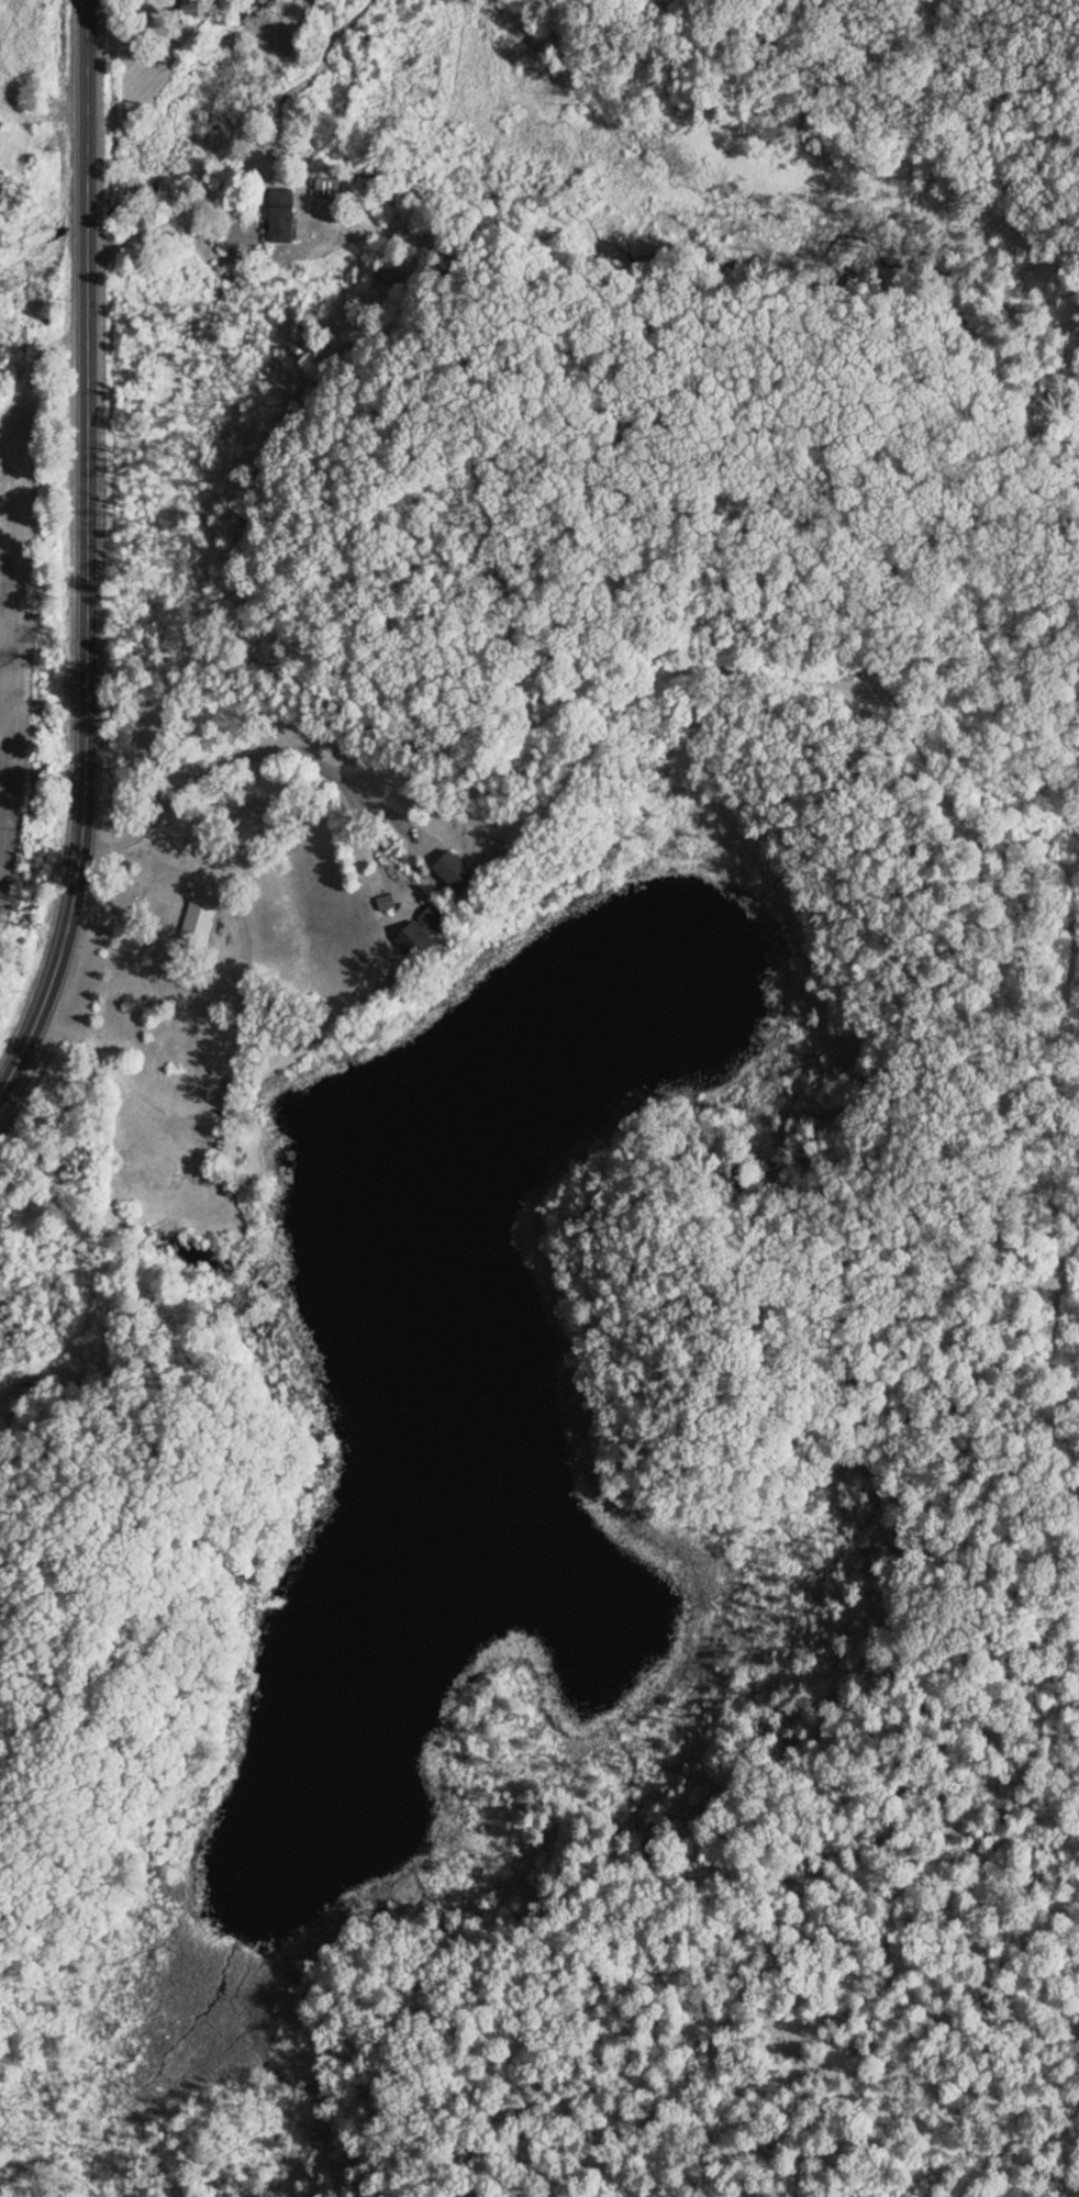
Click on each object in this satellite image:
building: (188, 8)
road: (87, 93)
building: (325, 187)
building: (279, 214)
road: (167, 223)
building: (383, 276)
road: (87, 654)
road: (272, 739)
building: (448, 872)
building: (381, 902)
building: (197, 921)
building: (416, 930)

